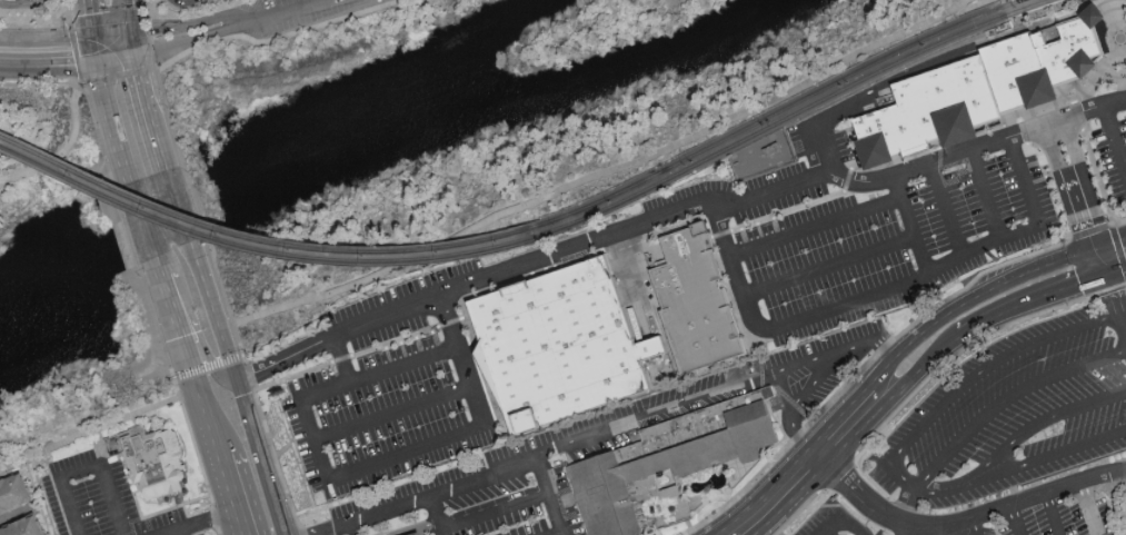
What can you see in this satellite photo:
parking lot: (255, 0)
building: (196, 1)
road: (23, 3)
road: (976, 7)
road: (283, 10)
parking lot: (298, 12)
road: (1012, 12)
road: (1056, 12)
road: (127, 16)
road: (89, 19)
railway: (1026, 19)
road: (191, 23)
traffic signals: (132, 32)
road: (269, 32)
road: (192, 38)
road: (66, 39)
traffic signals: (93, 39)
road: (133, 43)
road: (96, 50)
road: (1119, 51)
traffic signals: (136, 56)
road: (117, 58)
traffic signals: (99, 61)
road: (49, 65)
road: (118, 81)
building: (979, 90)
river: (429, 101)
road: (1088, 110)
railway: (774, 112)
road: (151, 115)
railway: (788, 116)
road: (112, 122)
road: (719, 127)
railway: (0, 135)
parking lot: (1113, 138)
road: (1115, 138)
road: (61, 149)
road: (823, 150)
road: (175, 187)
road: (986, 197)
road: (1078, 202)
road: (946, 211)
road: (641, 224)
parking lot: (860, 226)
road: (908, 227)
road: (146, 228)
road: (816, 228)
road: (188, 230)
railway: (256, 239)
road: (1109, 245)
railway: (257, 249)
traffic signals: (1095, 251)
road: (428, 254)
road: (828, 267)
river: (103, 268)
road: (1115, 276)
traffic signals: (1104, 280)
road: (883, 291)
road: (968, 297)
building: (694, 300)
road: (1030, 305)
road: (1115, 308)
road: (197, 333)
building: (557, 345)
road: (187, 346)
road: (341, 360)
road: (809, 361)
road: (203, 367)
road: (924, 370)
road: (820, 377)
road: (975, 378)
parking lot: (391, 386)
road: (788, 394)
road: (241, 397)
road: (1010, 400)
road: (659, 412)
road: (390, 413)
road: (1050, 418)
road: (850, 425)
road: (216, 439)
parking lot: (1003, 443)
building: (152, 457)
building: (671, 465)
road: (1024, 466)
road: (87, 470)
road: (349, 474)
road: (467, 487)
road: (232, 496)
road: (778, 496)
road: (909, 504)
road: (1087, 507)
building: (20, 508)
road: (497, 512)
road: (1054, 513)
road: (438, 517)
road: (847, 518)
road: (964, 518)
road: (1017, 518)
road: (202, 523)
road: (971, 526)
road: (905, 528)
road: (938, 529)
road: (179, 533)
road: (826, 533)
road: (829, 533)
building: (415, 534)
building: (422, 534)
road: (736, 534)

